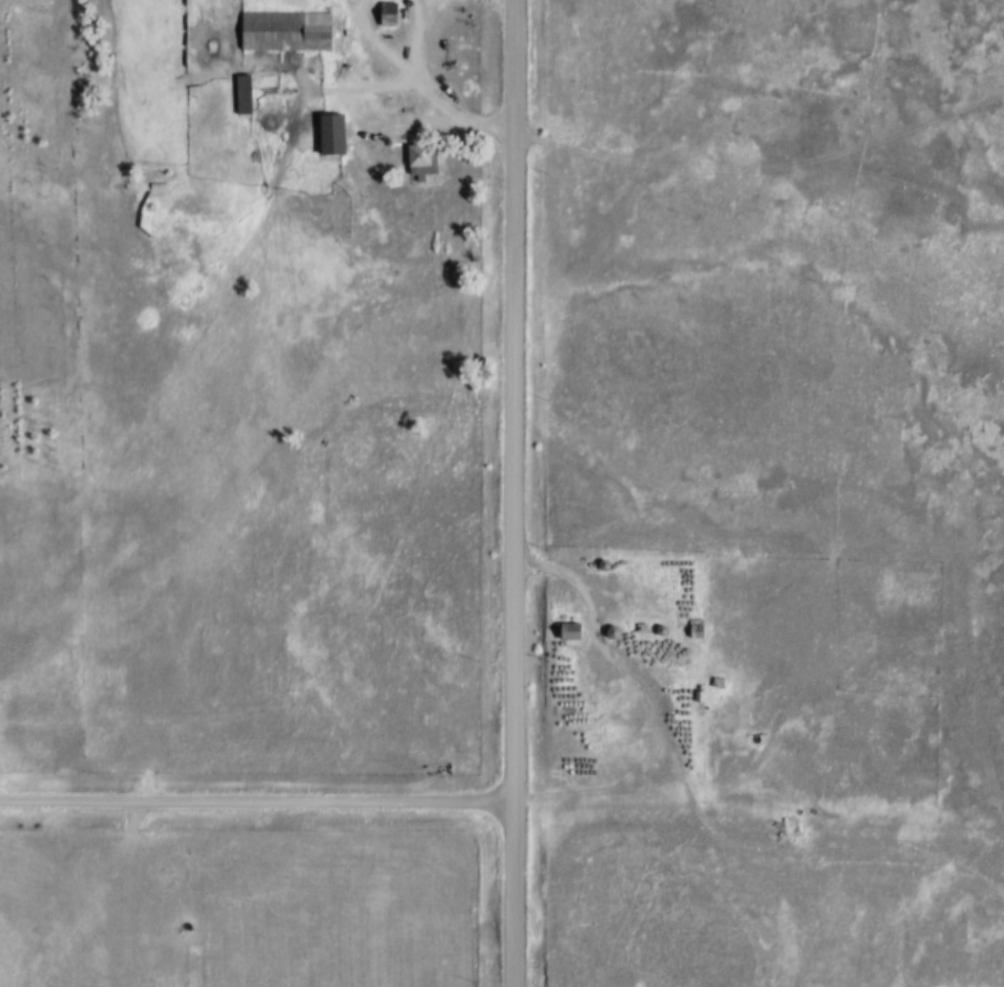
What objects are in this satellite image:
building: (388, 14)
building: (285, 32)
road: (421, 80)
building: (242, 95)
building: (331, 134)
building: (421, 161)
road: (761, 173)
road: (513, 493)
building: (695, 630)
building: (569, 632)
road: (603, 650)
road: (256, 806)
road: (820, 852)

